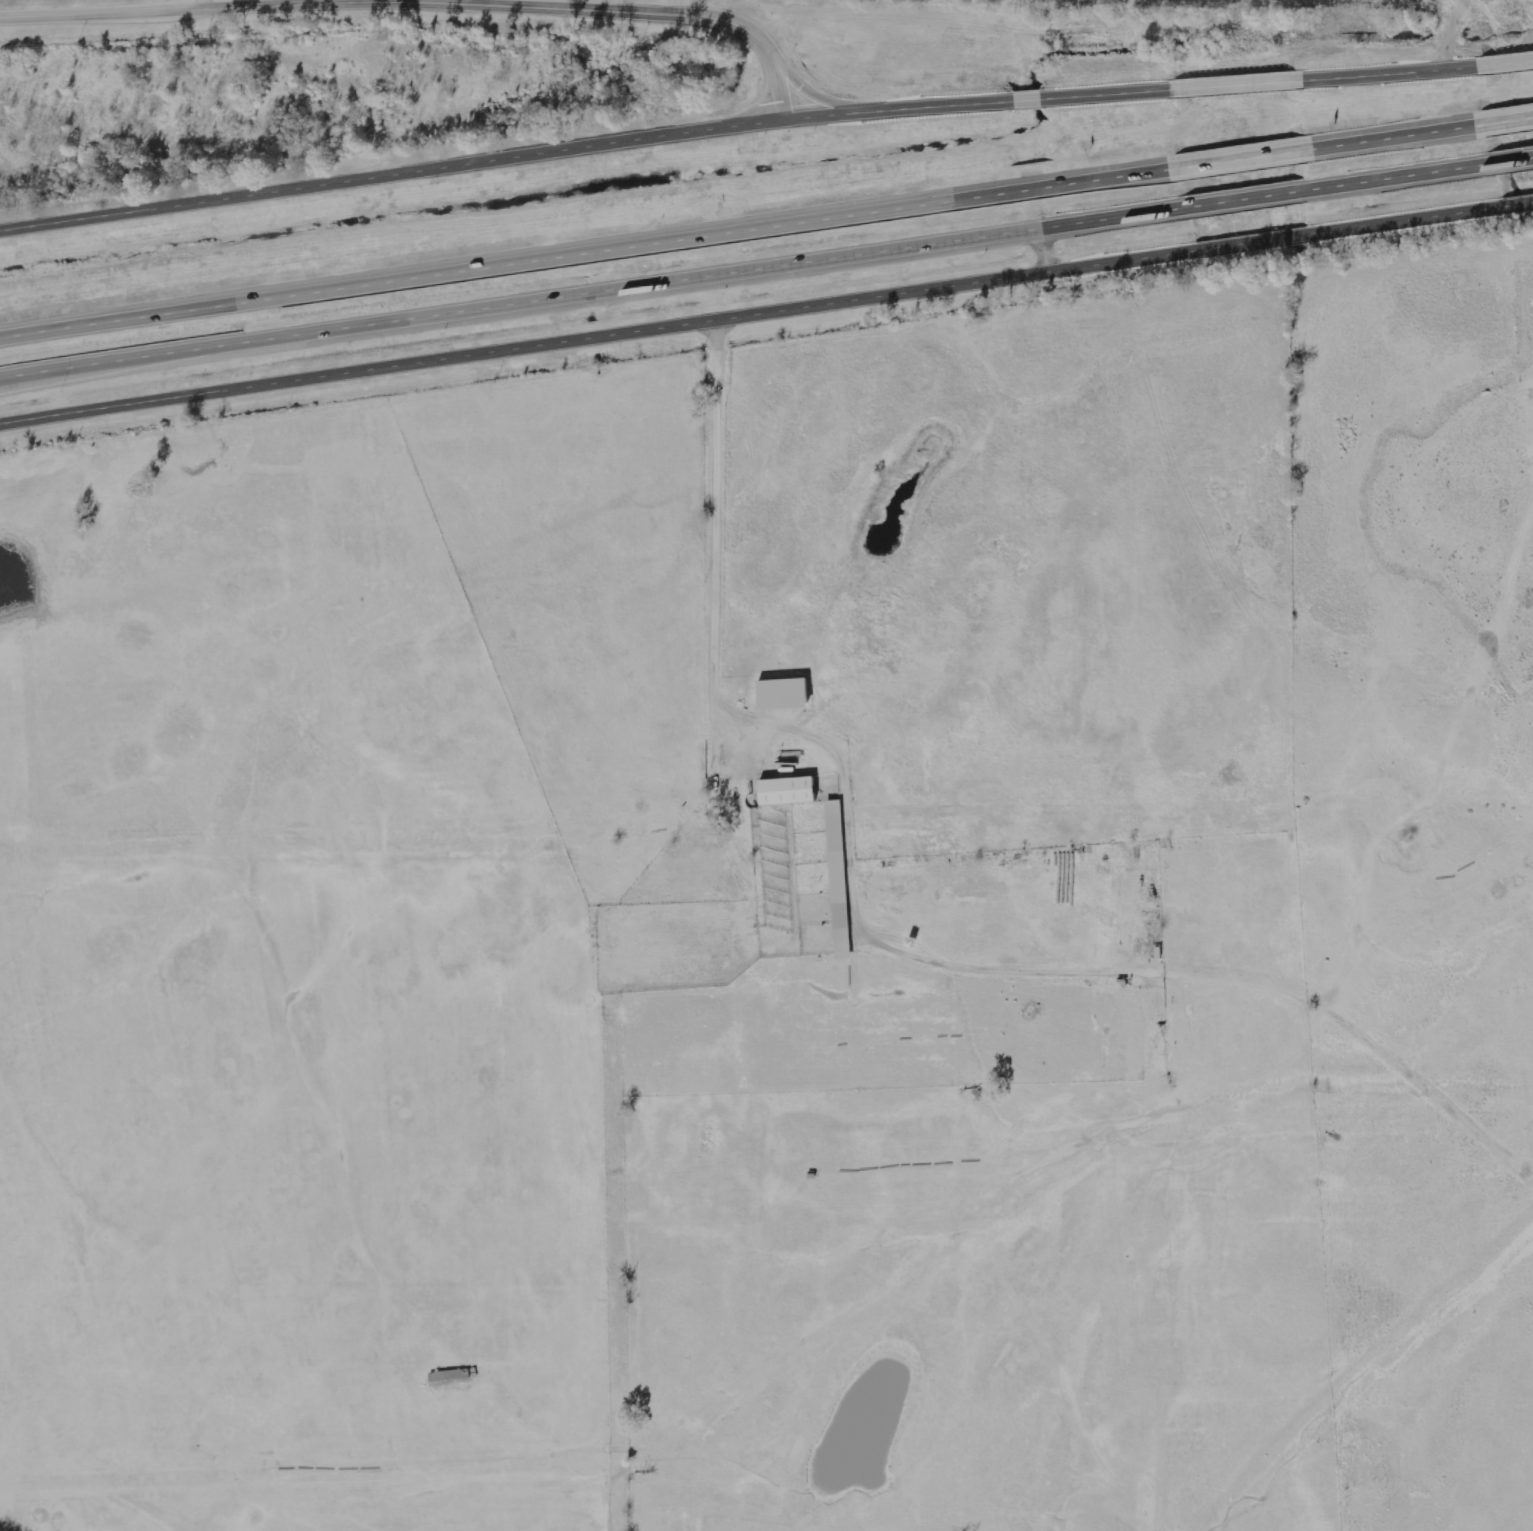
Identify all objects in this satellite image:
road: (162, 6)
road: (628, 9)
road: (1505, 61)
road: (1388, 71)
road: (1237, 83)
road: (980, 101)
road: (1507, 119)
road: (1397, 135)
road: (1246, 157)
road: (1510, 158)
road: (392, 173)
road: (1396, 175)
road: (1246, 197)
road: (1516, 202)
road: (1404, 219)
road: (707, 234)
road: (1252, 241)
road: (592, 287)
road: (117, 319)
road: (596, 330)
building: (783, 693)
building: (785, 792)
building: (836, 882)
road: (876, 947)
building: (1153, 1033)

